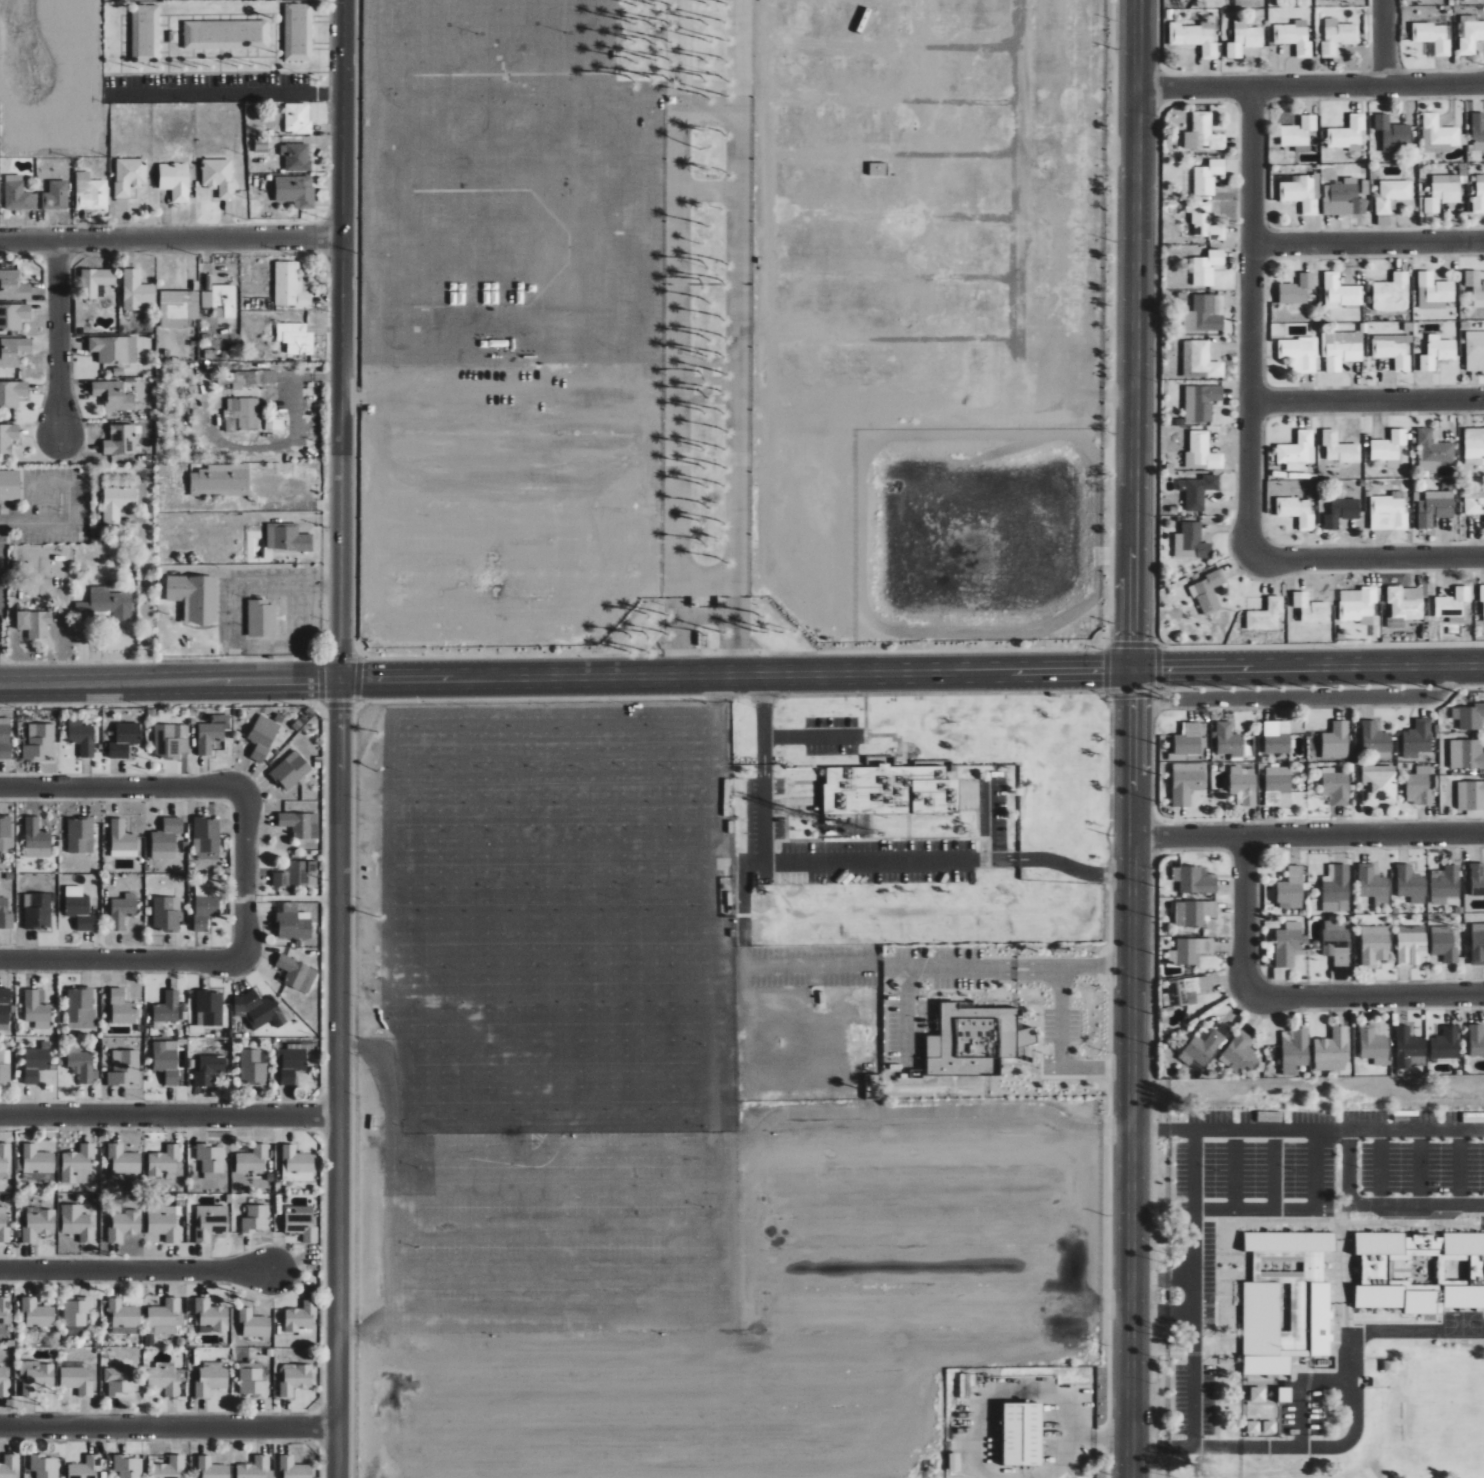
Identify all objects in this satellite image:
building: (1470, 0)
building: (298, 32)
building: (145, 33)
building: (226, 34)
building: (1337, 36)
building: (1295, 37)
building: (1433, 37)
building: (1471, 37)
building: (1199, 38)
building: (1244, 39)
road: (1384, 43)
road: (1310, 87)
road: (222, 92)
building: (297, 118)
building: (1478, 131)
building: (1203, 133)
building: (1299, 133)
building: (1393, 133)
building: (1348, 135)
building: (1438, 135)
building: (296, 157)
building: (878, 169)
building: (129, 175)
building: (218, 176)
building: (1208, 176)
building: (175, 180)
building: (296, 191)
building: (90, 192)
building: (1302, 192)
building: (1442, 192)
building: (17, 194)
building: (1479, 194)
building: (55, 195)
building: (1392, 195)
building: (1343, 198)
building: (1205, 221)
road: (170, 236)
road: (1367, 243)
building: (1206, 267)
building: (95, 281)
building: (13, 286)
building: (291, 286)
building: (1475, 287)
building: (1296, 289)
building: (136, 290)
building: (1434, 291)
building: (1340, 292)
building: (1392, 293)
building: (220, 300)
building: (173, 309)
building: (1203, 315)
building: (13, 316)
road: (1250, 322)
road: (1132, 334)
road: (55, 336)
building: (296, 338)
road: (340, 339)
building: (114, 349)
building: (1343, 350)
building: (1393, 350)
building: (13, 351)
building: (1474, 351)
building: (1437, 352)
building: (1299, 353)
building: (251, 381)
road: (291, 384)
building: (12, 393)
road: (471, 394)
building: (113, 395)
road: (1367, 401)
building: (1201, 402)
building: (242, 414)
building: (274, 424)
building: (8, 437)
building: (121, 440)
building: (1474, 446)
building: (1339, 448)
building: (1389, 448)
building: (1432, 450)
building: (1297, 451)
building: (1202, 452)
building: (221, 480)
building: (8, 484)
road: (66, 485)
building: (1199, 491)
building: (1474, 501)
building: (117, 504)
building: (1434, 508)
building: (1297, 511)
building: (1341, 512)
building: (1388, 512)
road: (13, 524)
building: (287, 538)
building: (1191, 542)
road: (1369, 555)
road: (280, 587)
building: (1208, 592)
building: (1482, 593)
building: (195, 597)
building: (1405, 602)
building: (104, 605)
building: (1358, 605)
building: (1453, 605)
building: (1311, 608)
building: (1266, 615)
building: (261, 618)
building: (34, 623)
road: (741, 674)
road: (1315, 695)
building: (1469, 716)
building: (210, 735)
road: (813, 735)
building: (81, 737)
building: (263, 737)
building: (1277, 737)
building: (5, 738)
building: (1375, 738)
building: (1417, 739)
building: (124, 740)
building: (170, 740)
building: (1229, 741)
building: (1336, 741)
building: (40, 742)
building: (1466, 754)
building: (291, 771)
building: (1186, 782)
building: (1243, 784)
building: (1276, 784)
building: (1378, 785)
building: (1420, 786)
building: (1335, 787)
road: (119, 788)
building: (891, 788)
building: (1470, 796)
road: (987, 816)
building: (300, 824)
building: (6, 834)
building: (80, 835)
road: (1305, 835)
building: (166, 838)
building: (37, 839)
building: (206, 839)
building: (122, 840)
road: (853, 860)
road: (243, 873)
building: (297, 874)
building: (1477, 879)
building: (1194, 880)
building: (1411, 884)
building: (1445, 884)
building: (1373, 885)
building: (1291, 889)
building: (1336, 889)
building: (205, 904)
building: (79, 908)
building: (122, 910)
building: (38, 911)
building: (1194, 913)
building: (166, 914)
building: (5, 915)
road: (1240, 920)
building: (293, 923)
building: (1337, 942)
building: (1445, 943)
building: (1288, 944)
building: (1375, 944)
building: (1477, 944)
building: (1411, 945)
building: (1189, 950)
road: (120, 959)
road: (1012, 962)
road: (1023, 962)
road: (1002, 965)
road: (1036, 965)
road: (1085, 966)
road: (1036, 971)
building: (294, 972)
road: (1001, 972)
road: (1012, 975)
road: (1024, 975)
road: (910, 976)
building: (1184, 991)
road: (1369, 994)
building: (81, 1008)
building: (122, 1008)
building: (4, 1009)
building: (37, 1009)
building: (167, 1009)
building: (209, 1009)
building: (259, 1009)
building: (1476, 1040)
building: (974, 1041)
building: (1445, 1044)
building: (1373, 1045)
road: (1061, 1048)
building: (1201, 1049)
building: (1332, 1049)
building: (1409, 1049)
building: (1294, 1050)
building: (1239, 1053)
building: (166, 1060)
building: (38, 1062)
building: (81, 1064)
building: (5, 1066)
building: (252, 1067)
building: (124, 1068)
building: (209, 1070)
road: (1127, 1073)
road: (336, 1078)
road: (168, 1115)
road: (1305, 1130)
building: (4, 1157)
building: (210, 1158)
building: (124, 1159)
building: (252, 1159)
building: (297, 1159)
building: (37, 1160)
building: (163, 1161)
building: (78, 1164)
road: (1459, 1166)
road: (1348, 1167)
road: (1378, 1167)
road: (1419, 1167)
road: (1314, 1168)
road: (1234, 1169)
road: (1274, 1169)
road: (1338, 1204)
building: (255, 1218)
building: (165, 1221)
building: (210, 1221)
building: (77, 1222)
building: (302, 1222)
building: (39, 1225)
building: (124, 1225)
building: (4, 1227)
parking lot: (564, 1231)
building: (1289, 1241)
building: (1379, 1242)
building: (1464, 1243)
building: (1424, 1245)
building: (1375, 1269)
road: (131, 1272)
road: (1160, 1278)
road: (1192, 1287)
building: (1463, 1296)
building: (1396, 1298)
building: (76, 1311)
building: (4, 1313)
building: (37, 1313)
building: (123, 1313)
building: (211, 1315)
building: (164, 1316)
road: (1160, 1316)
building: (300, 1318)
building: (1320, 1318)
building: (1277, 1319)
building: (253, 1323)
building: (35, 1376)
building: (164, 1378)
building: (77, 1379)
building: (211, 1379)
building: (294, 1379)
building: (119, 1380)
building: (252, 1380)
building: (4, 1383)
road: (1303, 1390)
building: (1257, 1394)
road: (168, 1426)
building: (1253, 1427)
building: (1270, 1428)
road: (1353, 1431)
building: (1022, 1433)
road: (1097, 1440)
building: (8, 1466)
building: (44, 1466)
building: (127, 1466)
road: (980, 1466)
building: (85, 1467)
building: (169, 1468)
building: (212, 1468)
building: (255, 1468)
building: (294, 1468)

